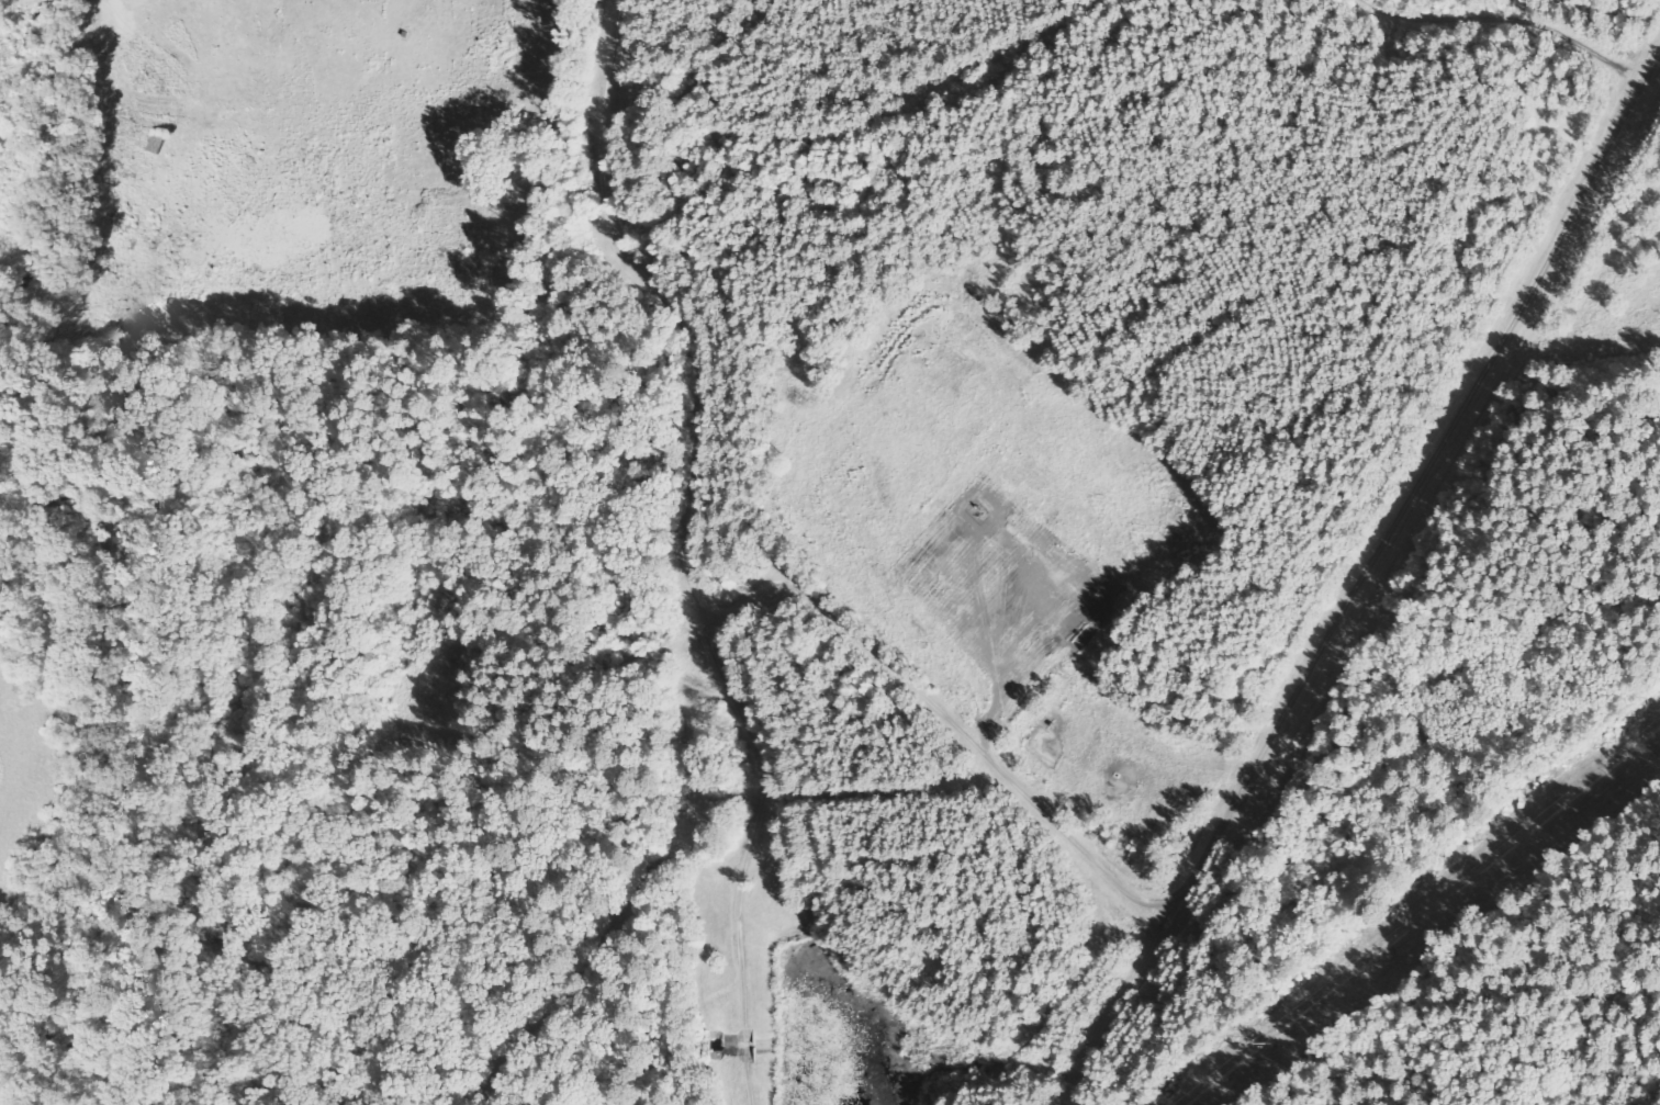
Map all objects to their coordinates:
power tower: (1274, 1039)

